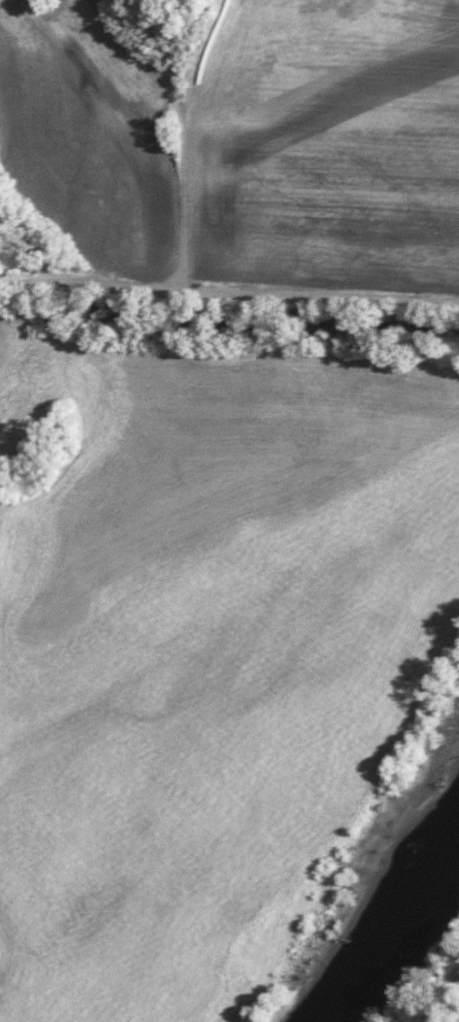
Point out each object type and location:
road: (184, 144)
road: (229, 292)
river: (393, 910)
road: (448, 999)

